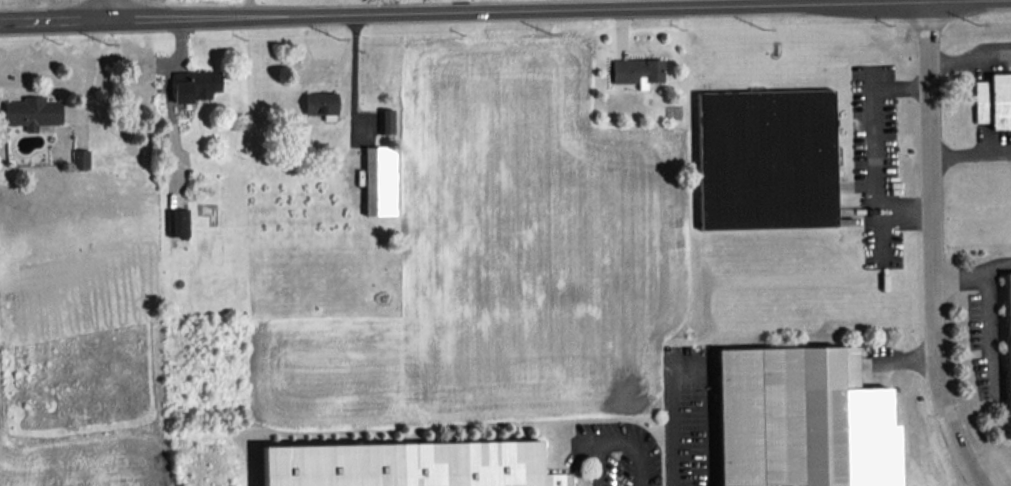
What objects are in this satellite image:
road: (250, 6)
road: (106, 8)
road: (482, 9)
parking lot: (991, 59)
building: (637, 71)
road: (353, 74)
building: (195, 84)
building: (994, 100)
building: (320, 103)
building: (32, 112)
building: (387, 120)
parking lot: (991, 143)
road: (874, 147)
building: (80, 158)
building: (766, 159)
parking lot: (876, 162)
building: (380, 180)
building: (180, 222)
road: (932, 248)
road: (973, 276)
building: (1009, 339)
road: (906, 356)
road: (688, 371)
parking lot: (690, 414)
building: (802, 419)
parking lot: (876, 436)
road: (616, 441)
parking lot: (615, 454)
building: (409, 464)

